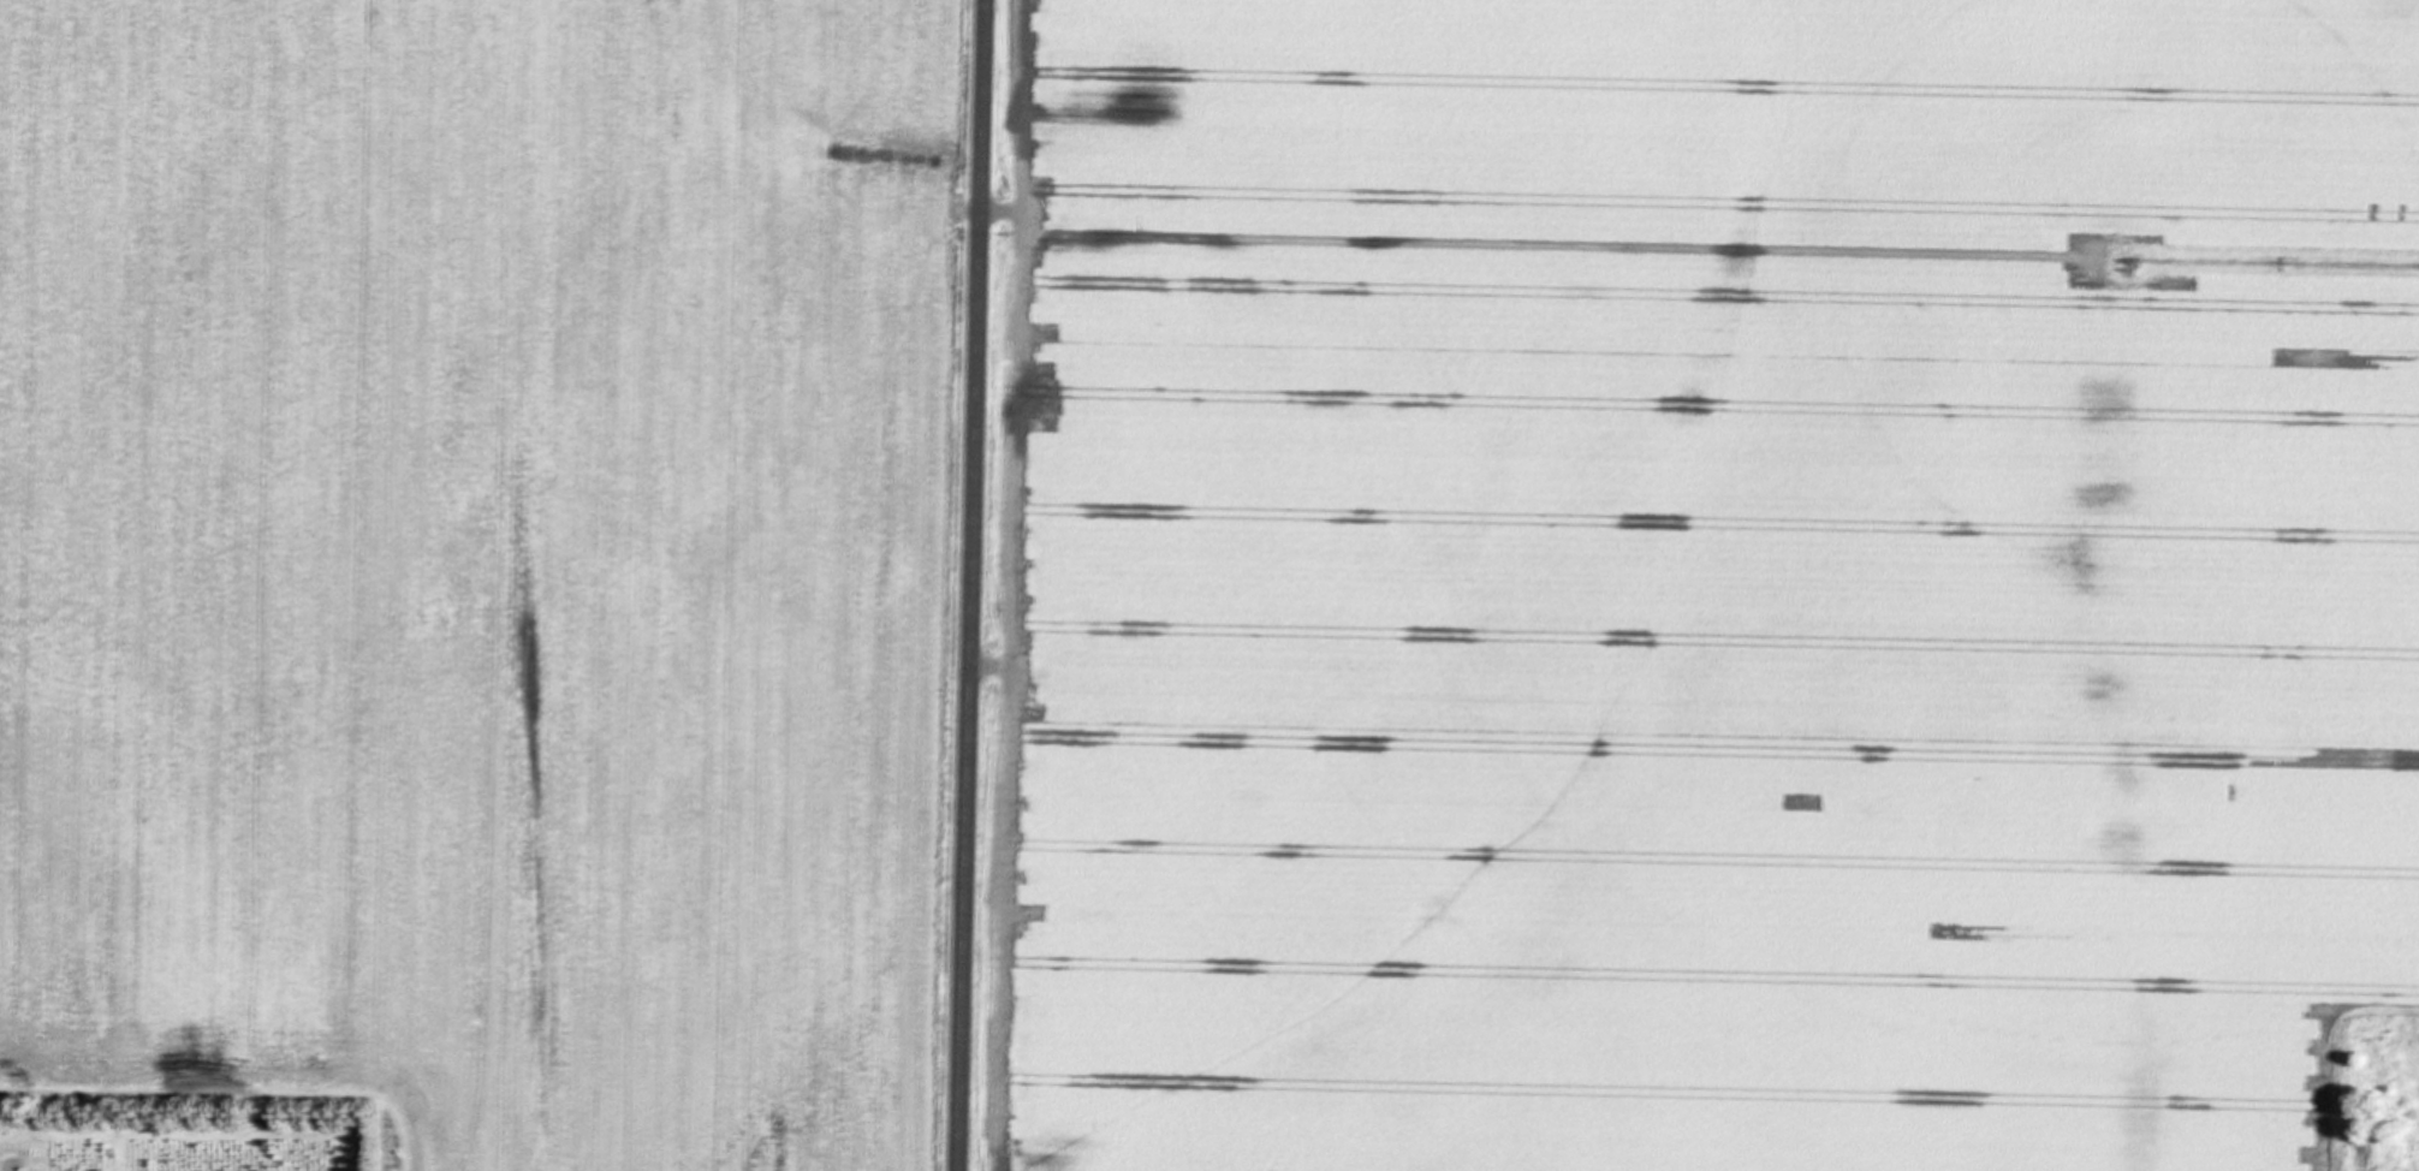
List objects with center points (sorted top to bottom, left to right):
road: (970, 585)

